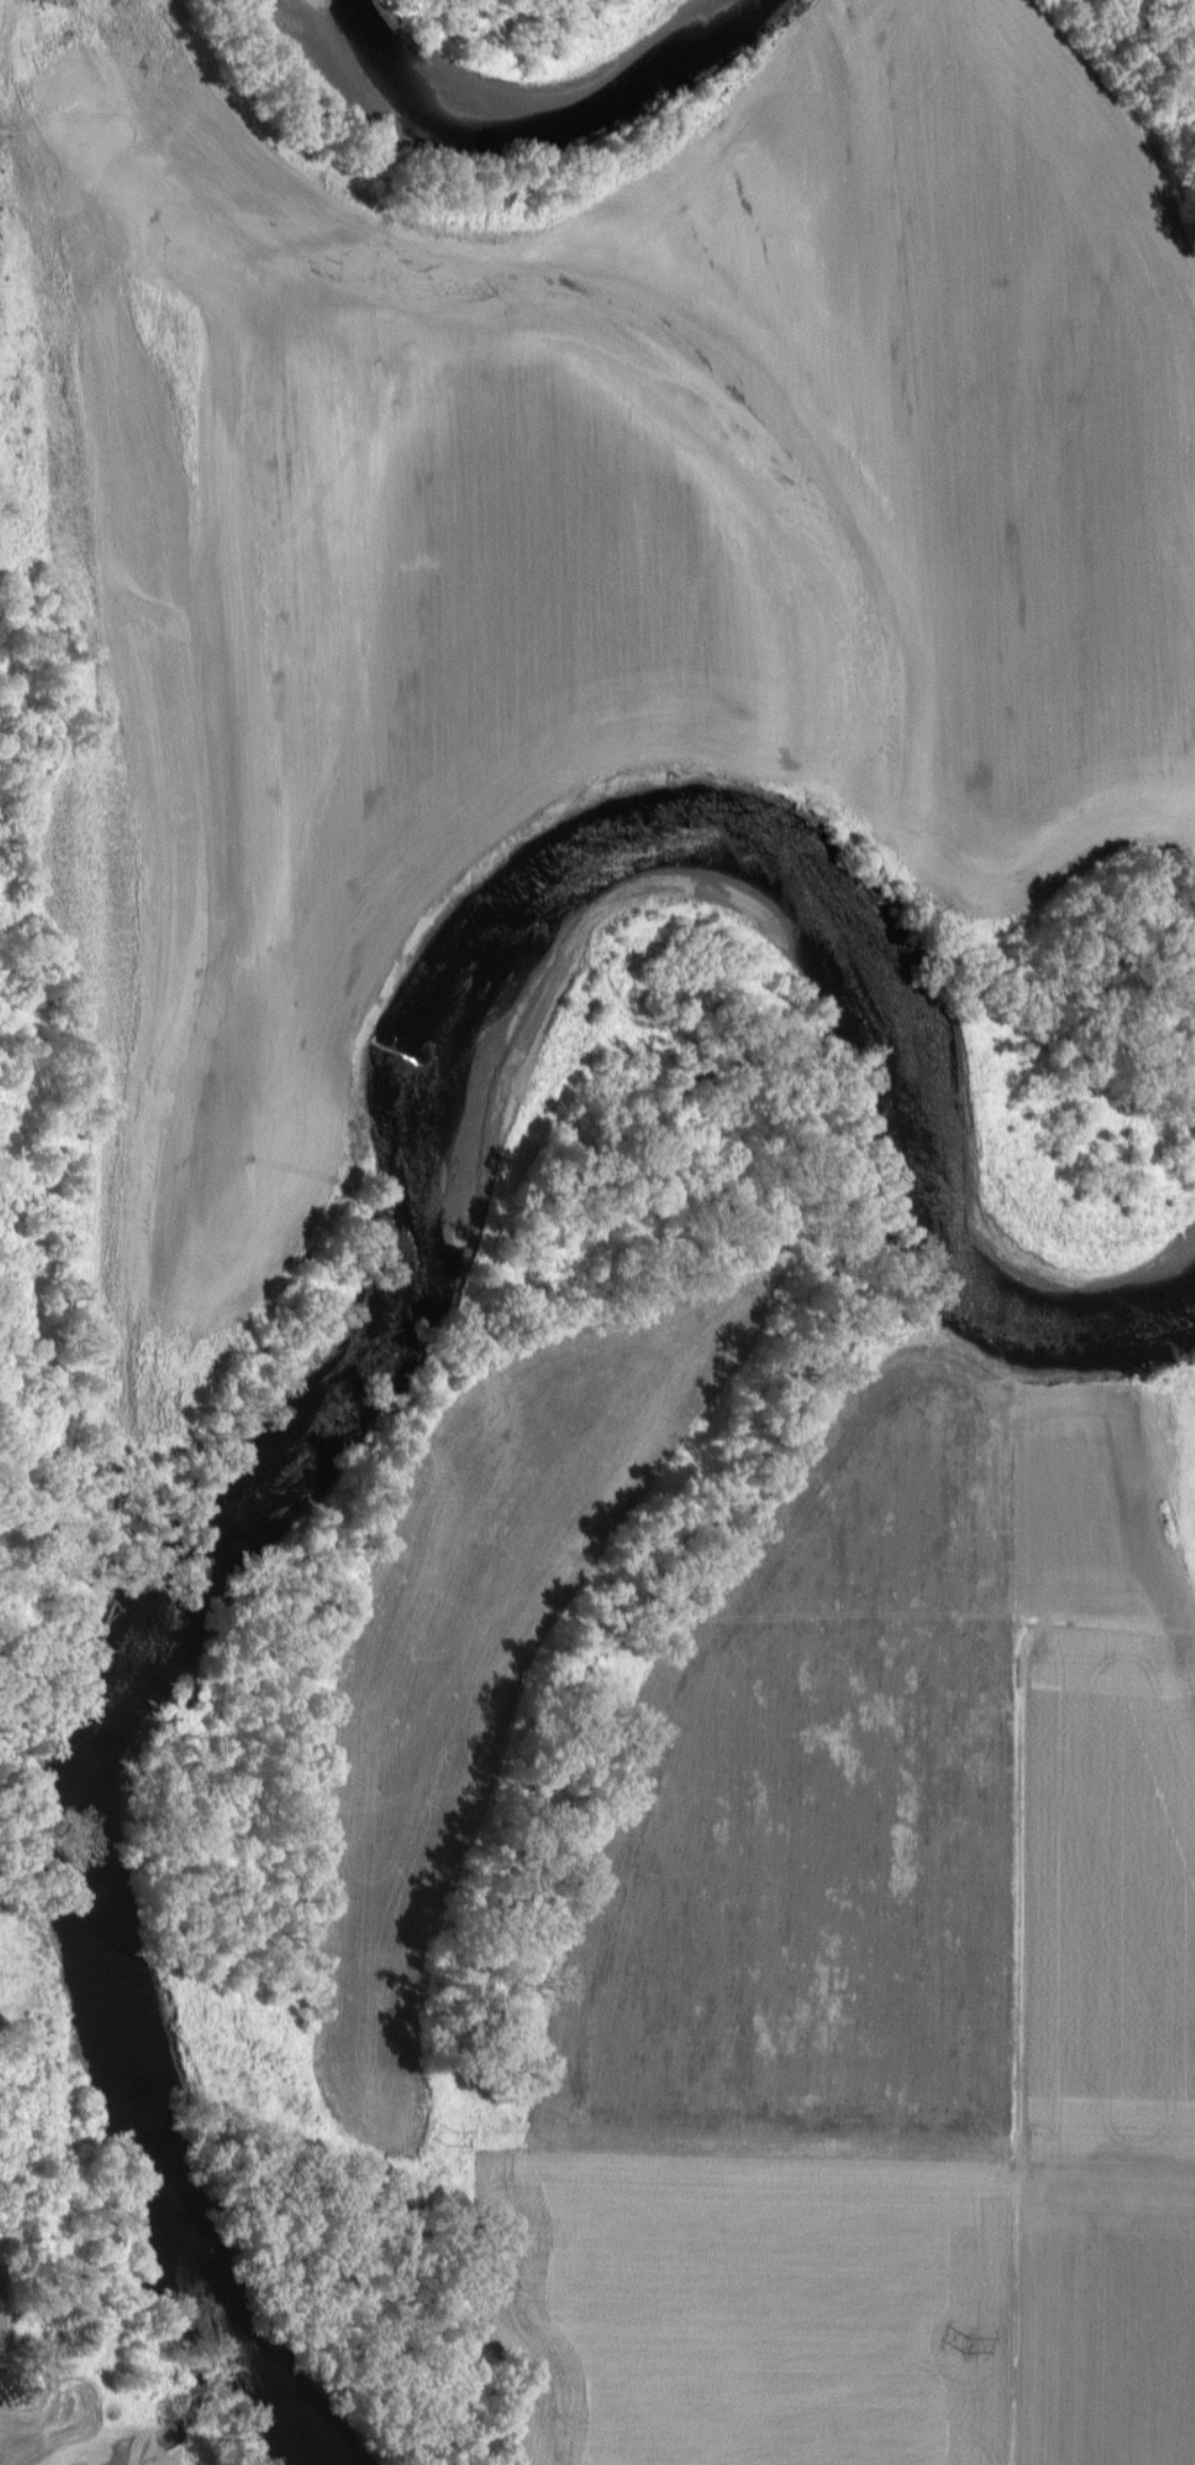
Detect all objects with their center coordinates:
river: (510, 103)
river: (379, 1322)
power tower: (449, 2132)
power tower: (966, 2341)
road: (1168, 2453)

